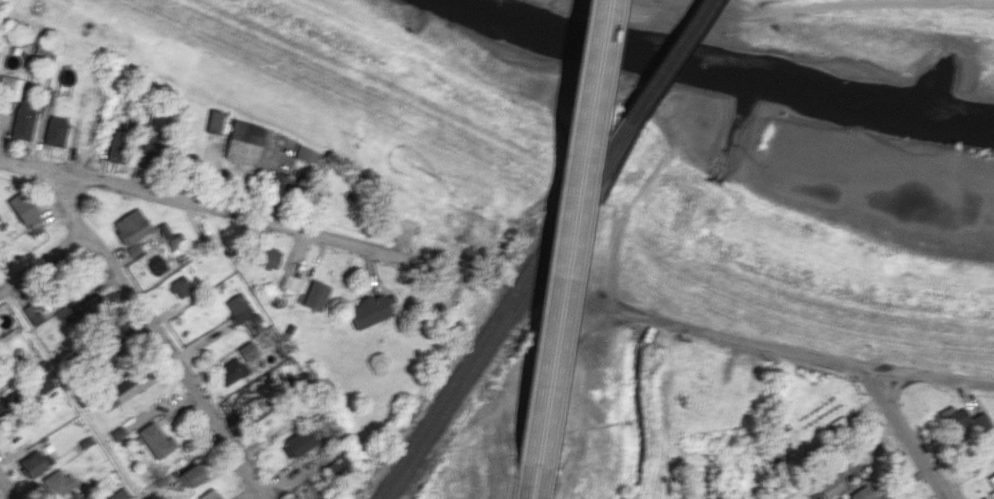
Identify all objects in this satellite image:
road: (837, 5)
river: (957, 57)
building: (8, 91)
railway: (641, 96)
railway: (652, 99)
building: (21, 121)
building: (213, 121)
building: (53, 130)
building: (242, 141)
building: (115, 145)
building: (146, 150)
building: (306, 154)
building: (284, 183)
building: (23, 209)
road: (236, 218)
building: (130, 230)
building: (172, 239)
road: (557, 249)
road: (575, 249)
building: (267, 257)
road: (41, 259)
building: (288, 281)
building: (180, 286)
building: (315, 295)
building: (237, 307)
building: (368, 311)
building: (31, 313)
building: (66, 313)
road: (160, 341)
railway: (477, 344)
railway: (487, 348)
building: (246, 350)
road: (804, 351)
building: (108, 354)
building: (230, 371)
building: (43, 383)
building: (125, 389)
building: (6, 404)
building: (951, 419)
building: (979, 421)
building: (117, 432)
road: (909, 435)
building: (155, 440)
building: (297, 443)
building: (34, 463)
building: (339, 464)
building: (190, 475)
building: (991, 480)
building: (57, 483)
building: (826, 484)
road: (6, 489)
building: (117, 494)
building: (209, 494)
building: (860, 494)
building: (992, 494)
building: (80, 498)
road: (521, 498)

